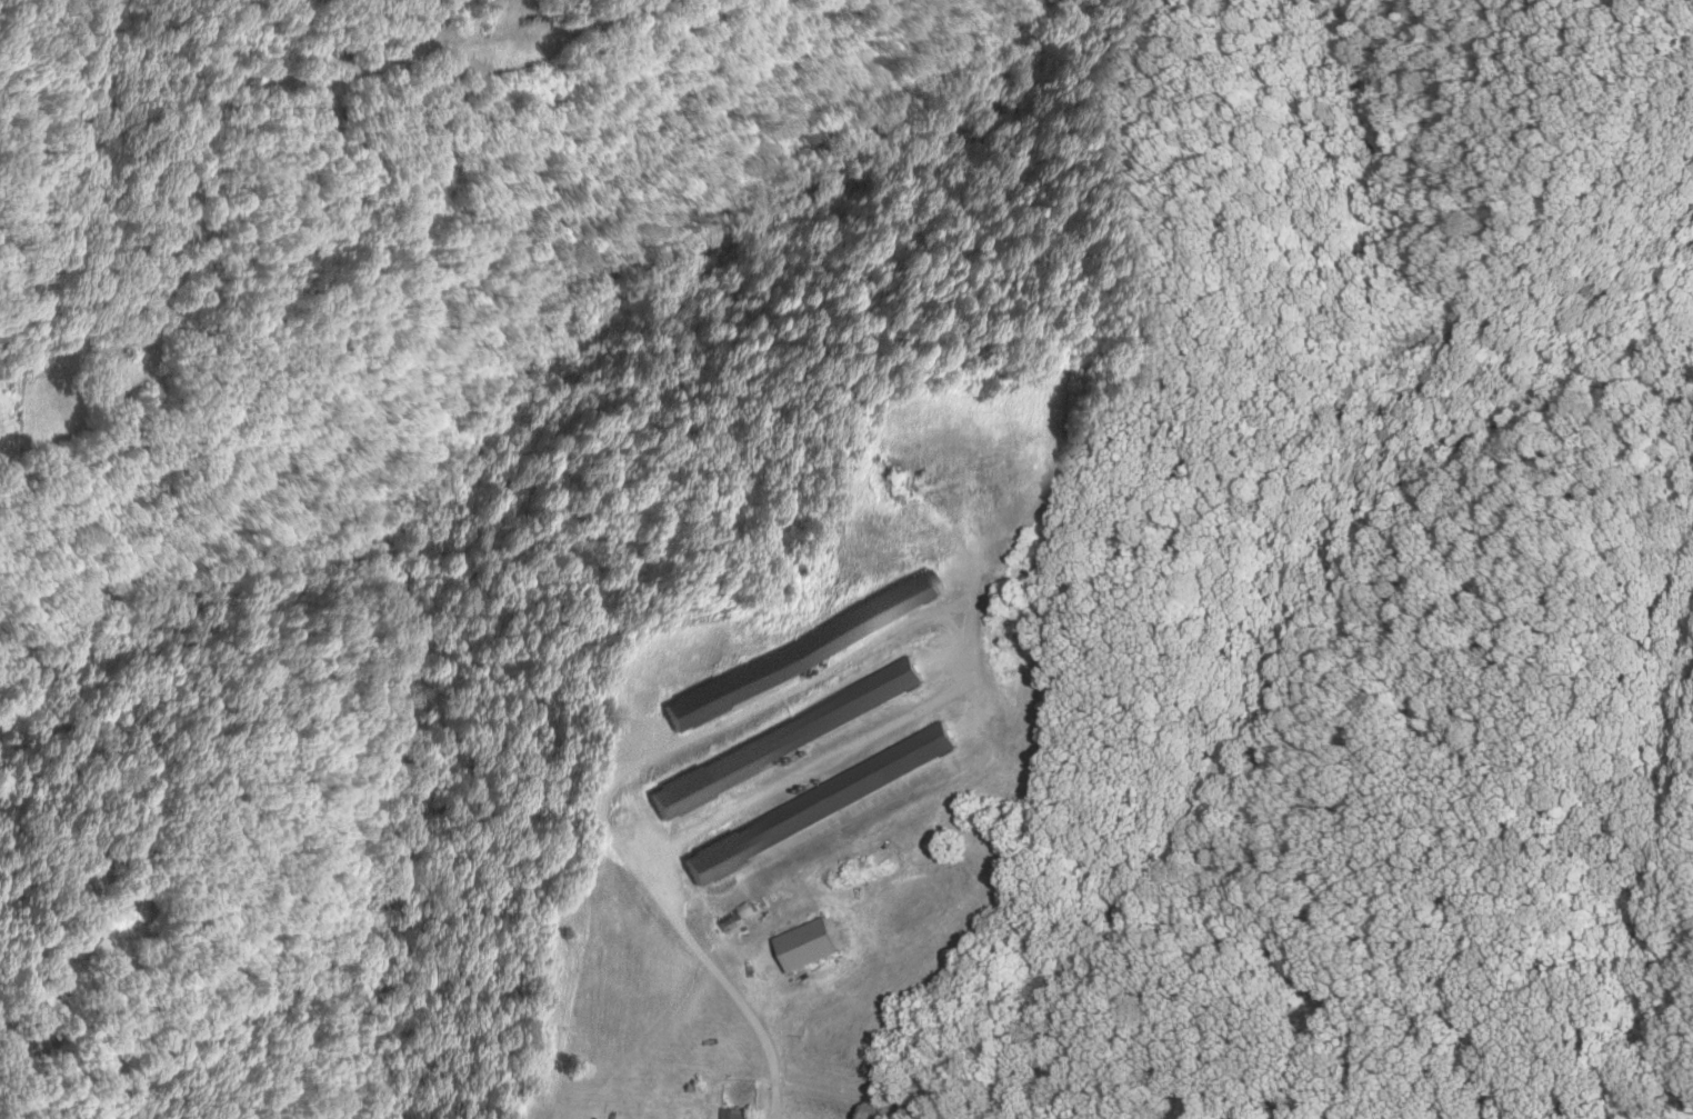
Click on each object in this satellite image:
road: (190, 196)
building: (801, 649)
building: (787, 737)
building: (820, 803)
building: (744, 911)
building: (724, 921)
building: (808, 946)
building: (94, 947)
road: (775, 1111)
building: (738, 1112)

